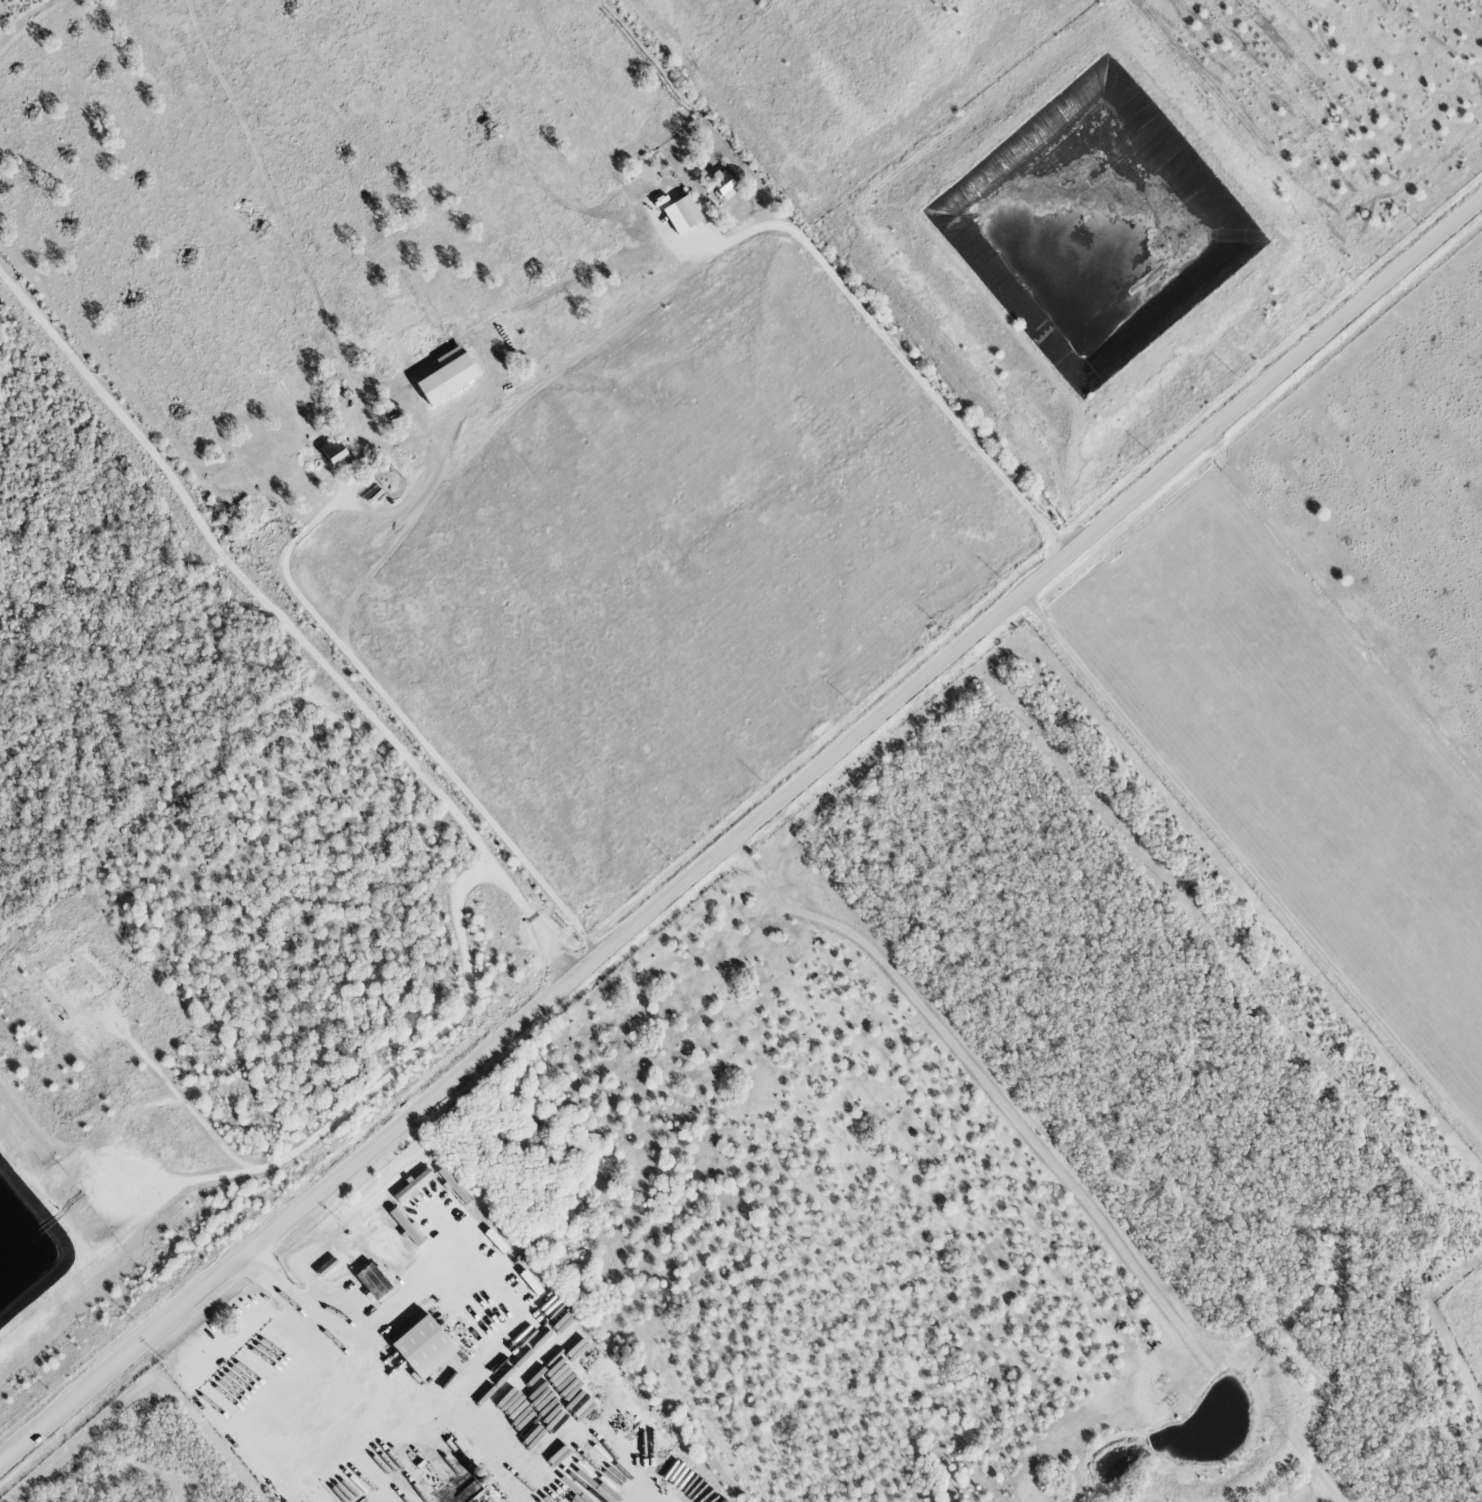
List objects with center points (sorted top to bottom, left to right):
building: (722, 184)
building: (684, 212)
road: (903, 356)
building: (330, 453)
building: (371, 468)
road: (287, 617)
road: (407, 722)
road: (739, 828)
road: (1249, 867)
road: (175, 1100)
road: (334, 1107)
road: (504, 1291)
road: (348, 1373)

